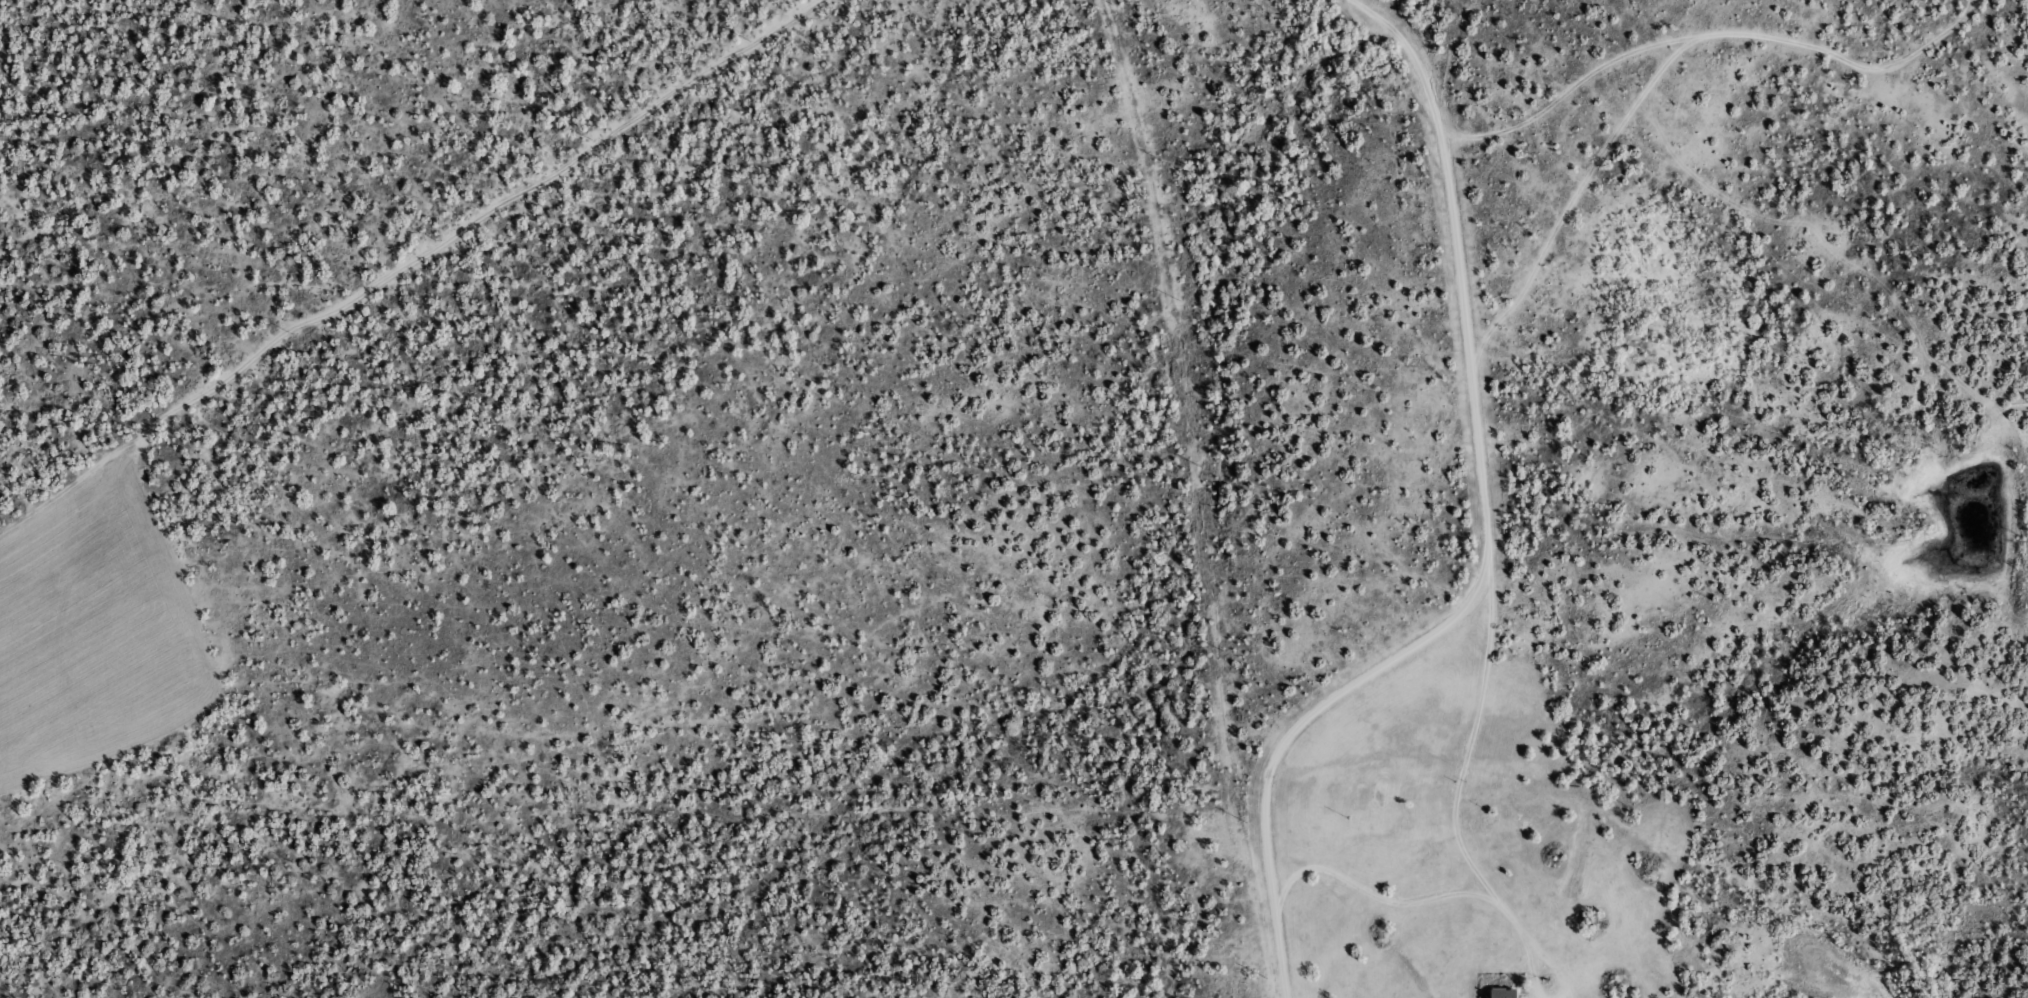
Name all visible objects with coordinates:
road: (1718, 75)
road: (1477, 481)
road: (1253, 757)
building: (1594, 922)
building: (1505, 993)

